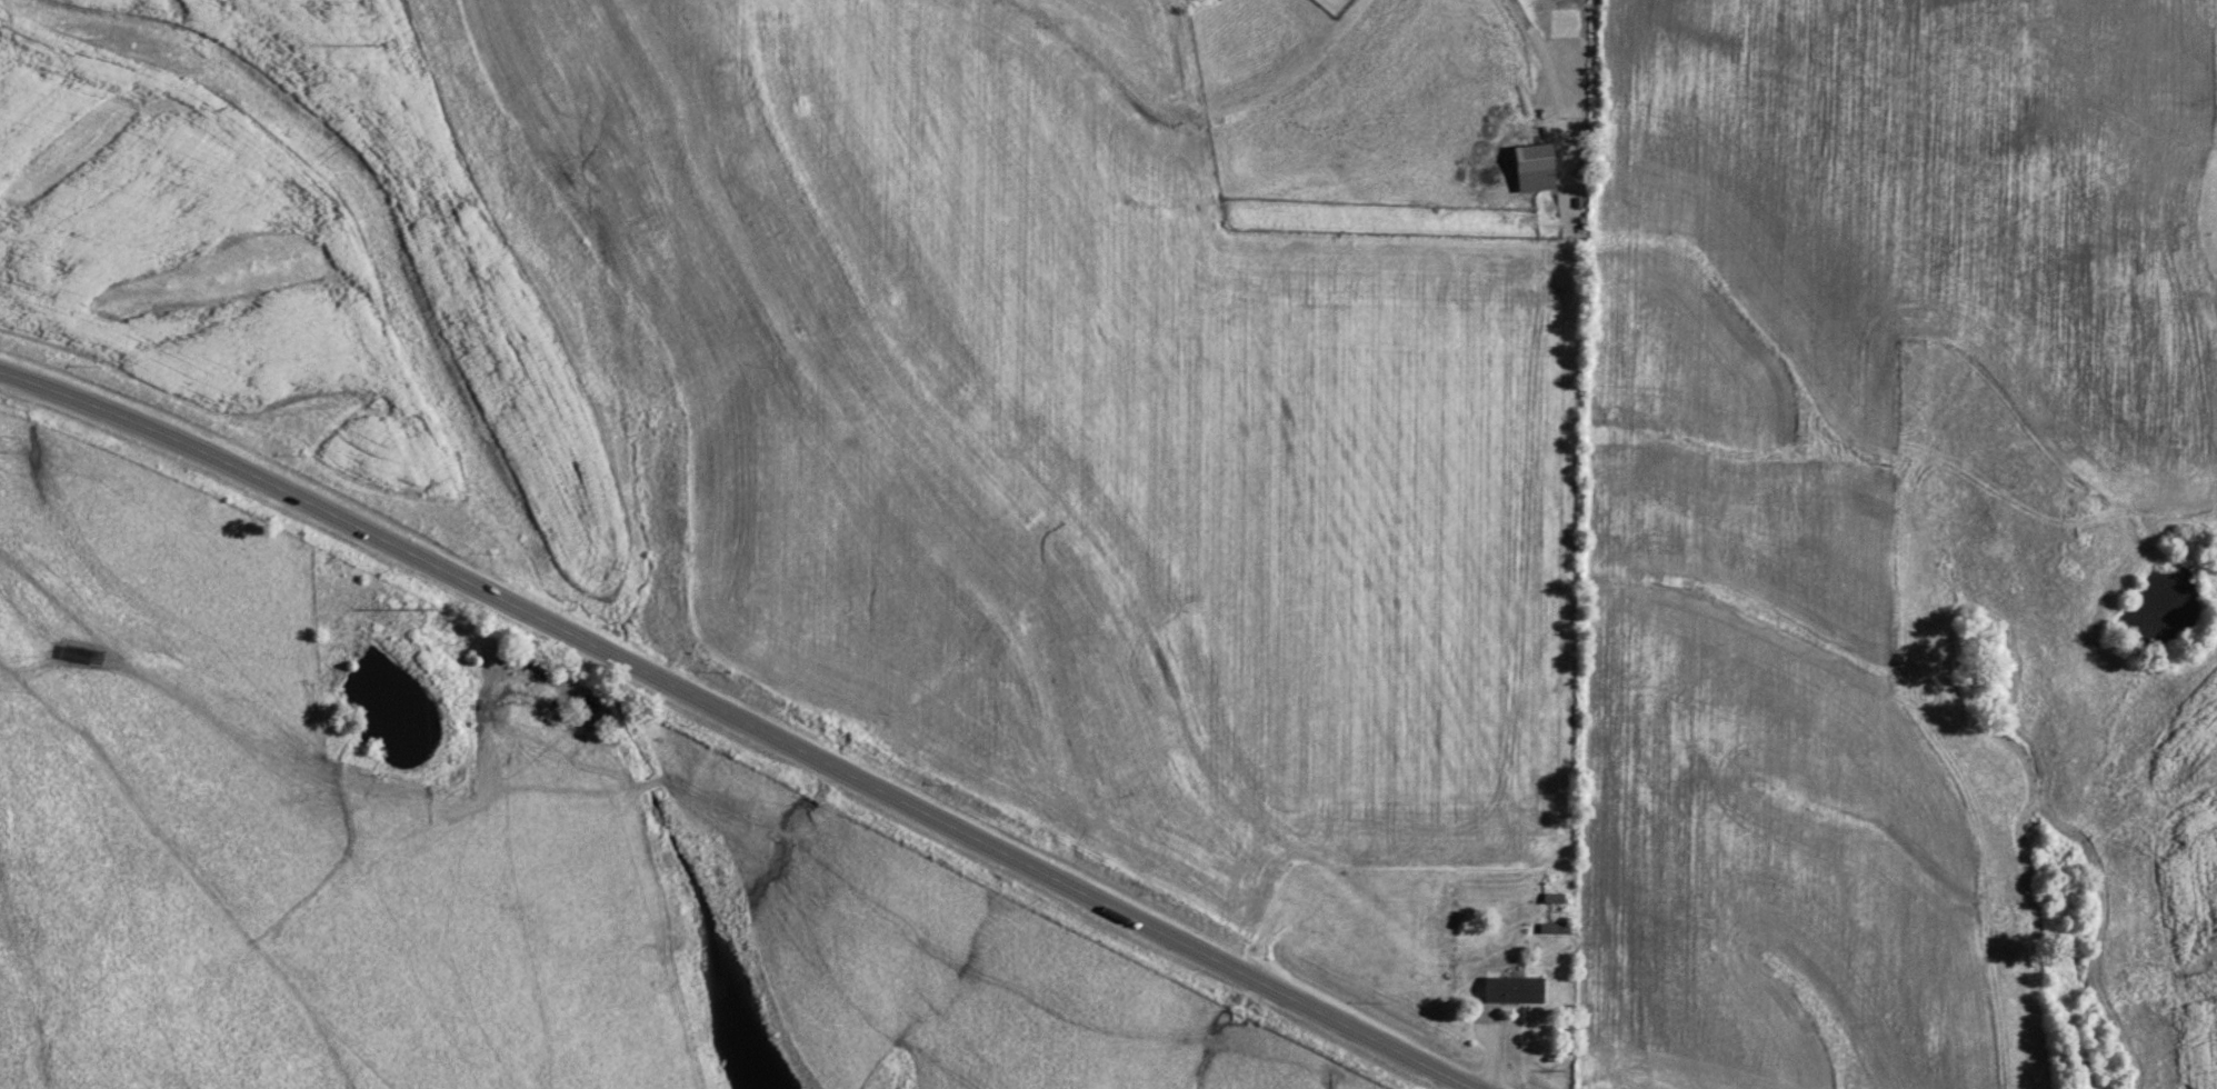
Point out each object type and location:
road: (1555, 68)
building: (1530, 164)
road: (742, 718)
building: (1509, 988)

